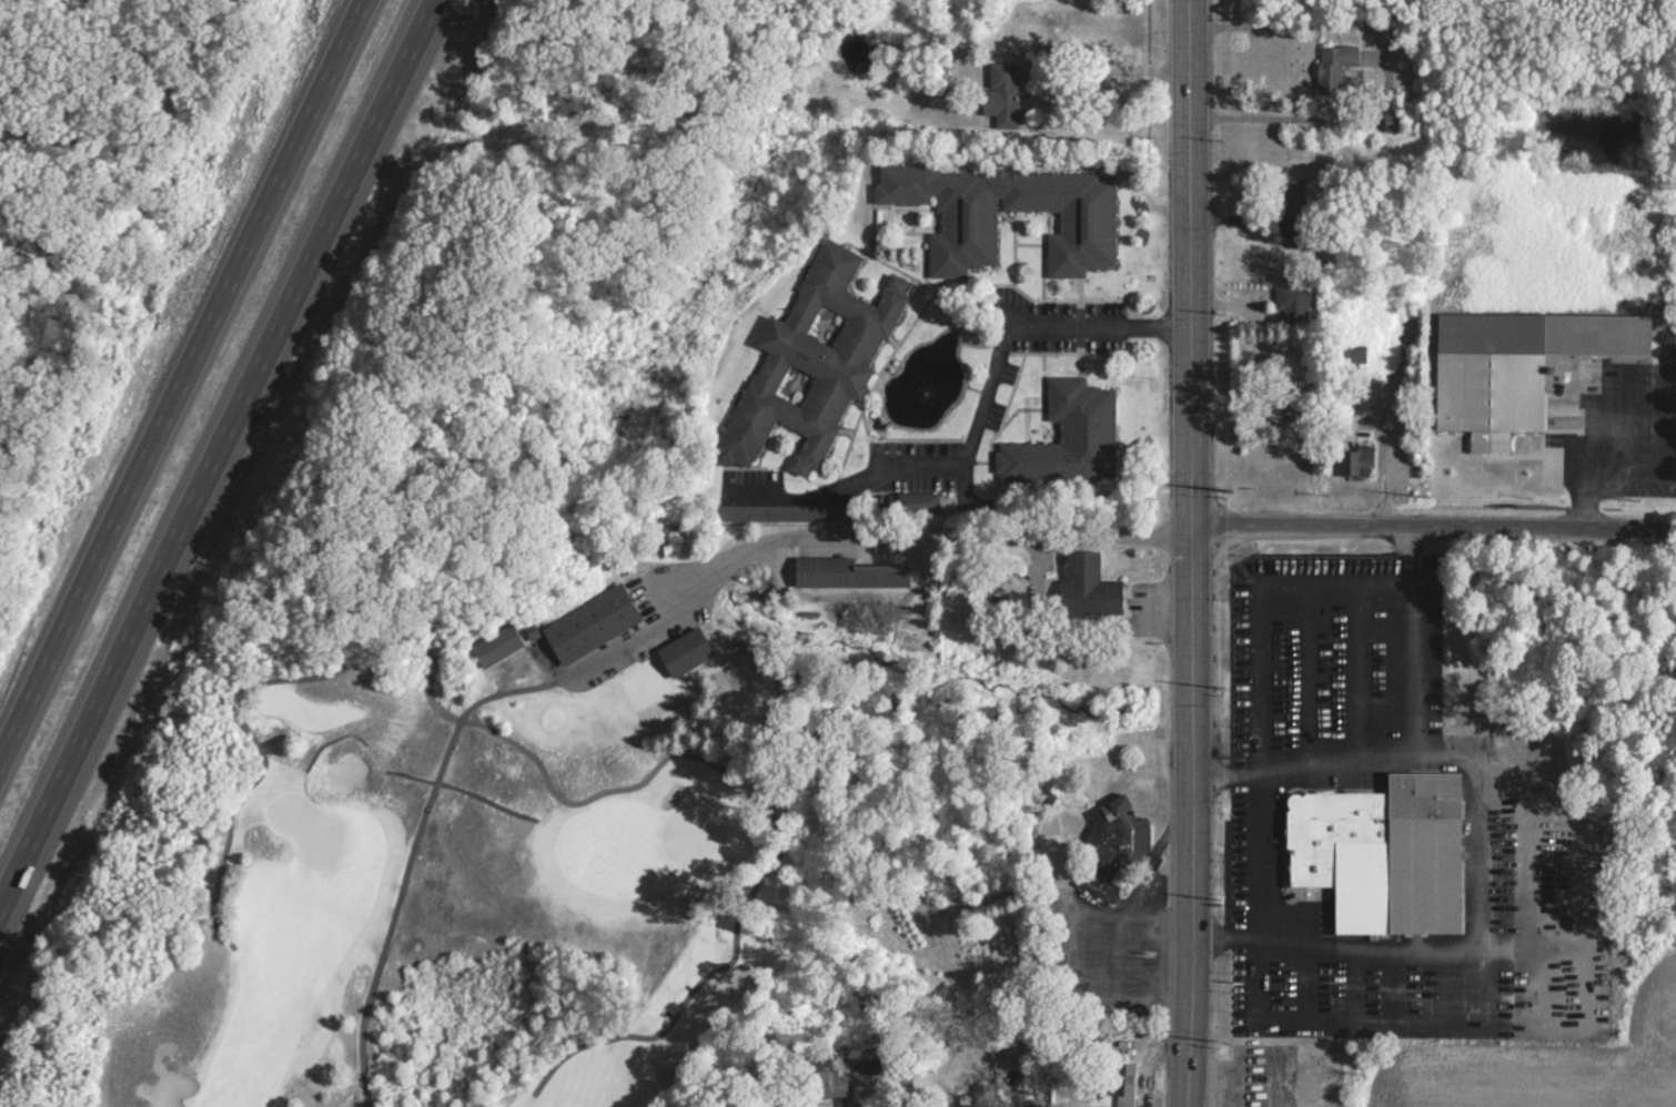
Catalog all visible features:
building: (1337, 69)
road: (1384, 70)
building: (1001, 94)
road: (153, 102)
building: (1393, 120)
building: (1292, 197)
building: (967, 221)
building: (1290, 303)
building: (809, 363)
building: (1515, 366)
road: (175, 369)
road: (997, 376)
building: (1293, 405)
building: (1068, 436)
road: (213, 446)
building: (1355, 461)
road: (1583, 487)
building: (917, 502)
road: (1432, 524)
road: (917, 536)
road: (1189, 553)
building: (846, 572)
road: (649, 578)
building: (1088, 585)
building: (590, 623)
building: (532, 631)
road: (1407, 640)
building: (495, 642)
road: (647, 644)
building: (685, 653)
road: (566, 676)
road: (239, 689)
road: (1260, 693)
road: (323, 744)
road: (381, 766)
road: (632, 785)
road: (484, 800)
park: (303, 826)
park: (695, 830)
building: (1115, 831)
park: (383, 846)
building: (1381, 853)
road: (1480, 855)
road: (396, 911)
road: (686, 999)
road: (1234, 1063)
building: (827, 1083)
building: (1123, 1084)
building: (1309, 1090)

